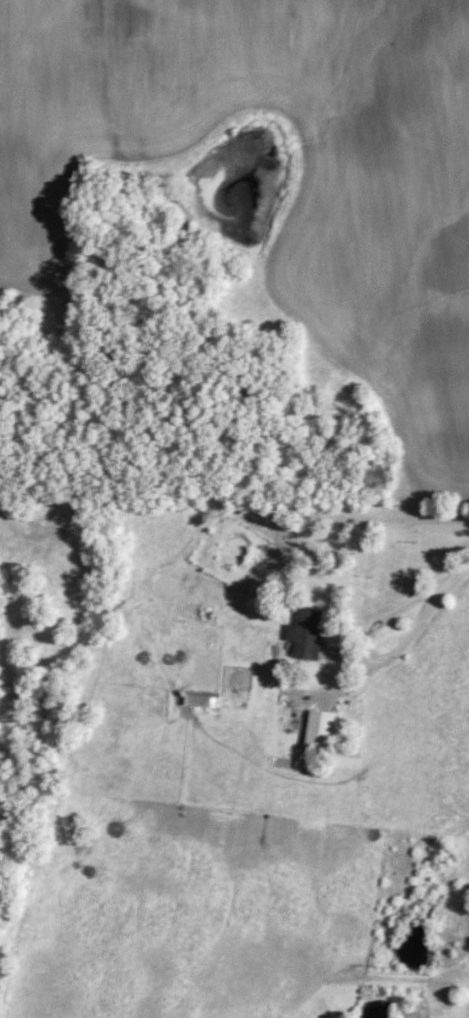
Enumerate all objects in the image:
road: (449, 583)
road: (412, 632)
building: (309, 634)
building: (322, 732)
building: (285, 763)

